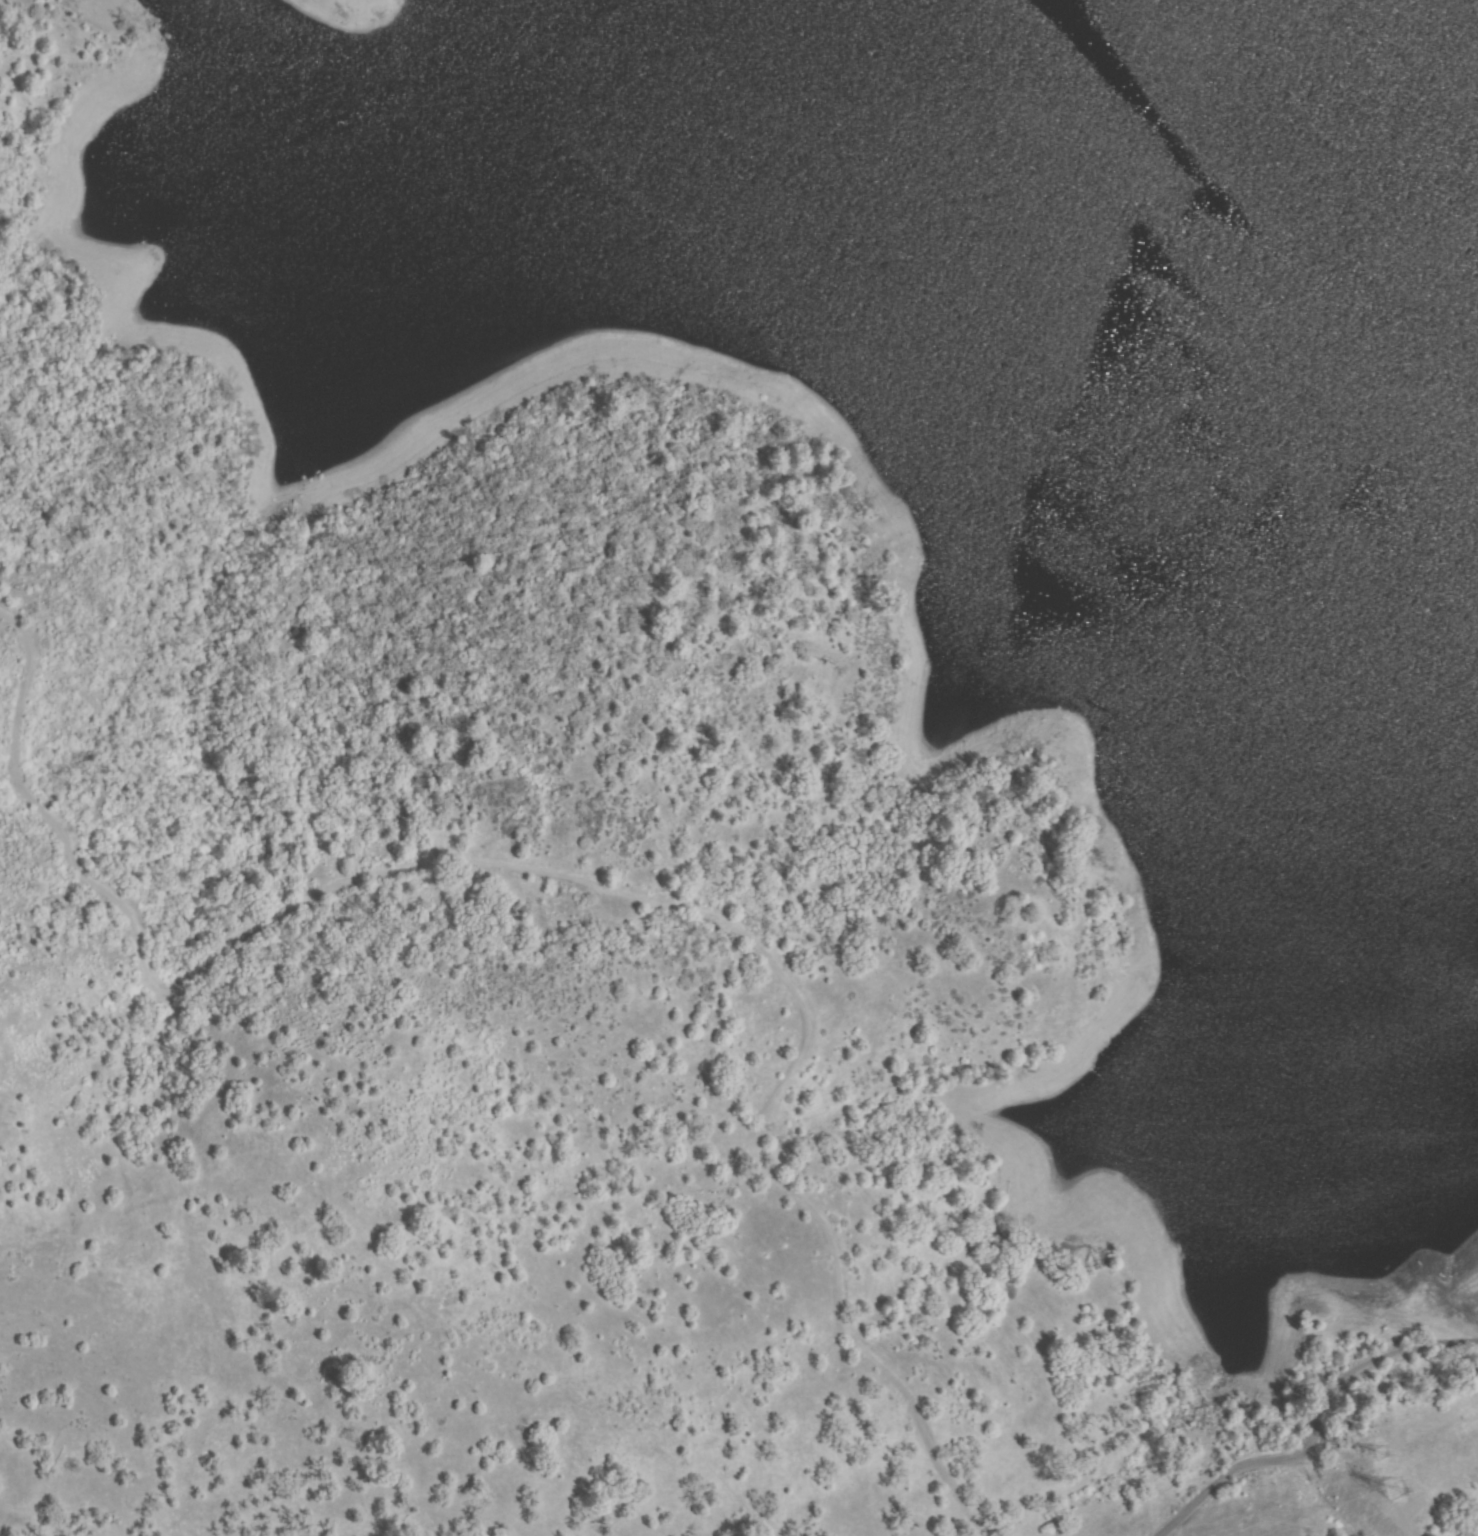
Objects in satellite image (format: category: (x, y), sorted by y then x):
road: (1325, 1444)
power tower: (1383, 1458)
power tower: (1396, 1493)

